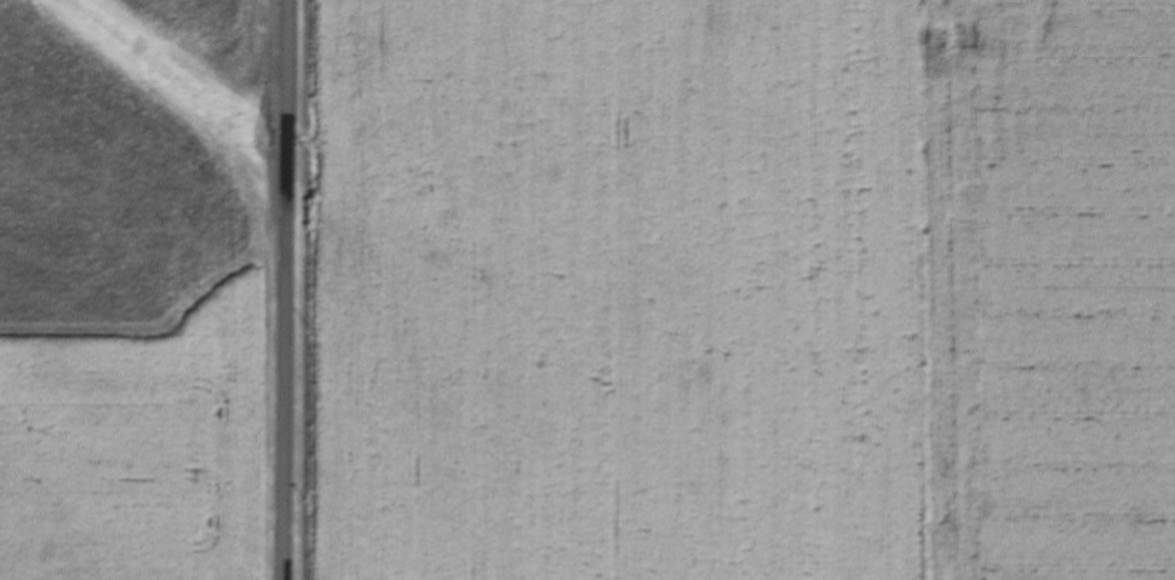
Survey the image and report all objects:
road: (286, 289)

